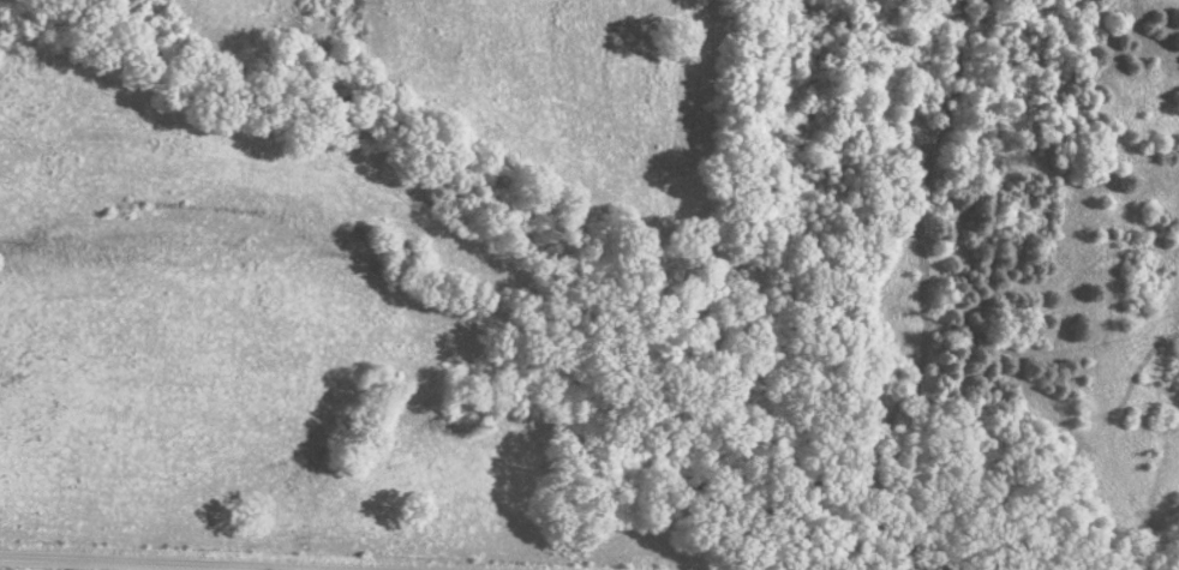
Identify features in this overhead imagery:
road: (109, 564)

